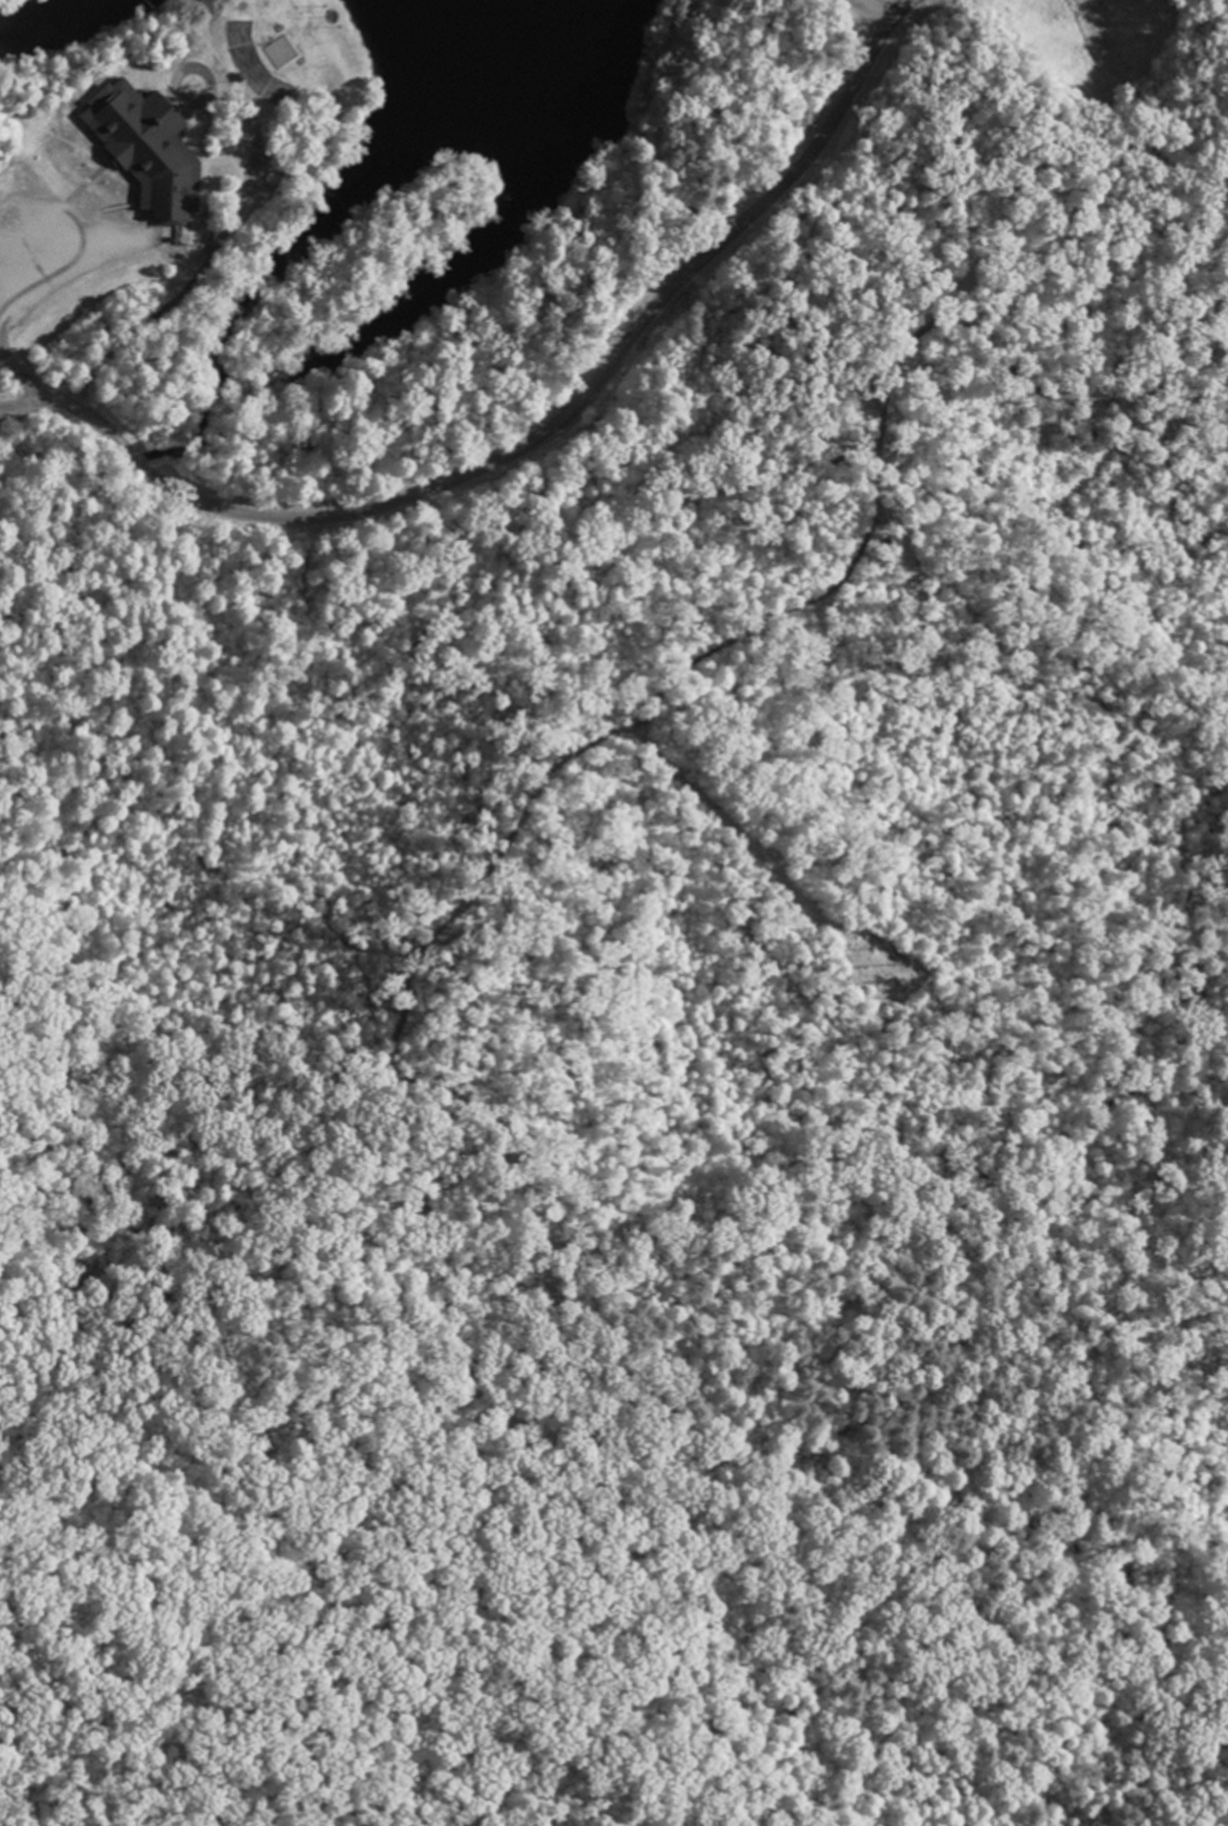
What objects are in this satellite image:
road: (147, 2)
road: (201, 45)
building: (267, 63)
road: (82, 96)
building: (147, 150)
parking lot: (57, 253)
road: (47, 277)
road: (985, 354)
road: (20, 378)
road: (530, 438)
building: (532, 1147)
building: (509, 1170)
building: (538, 1176)

